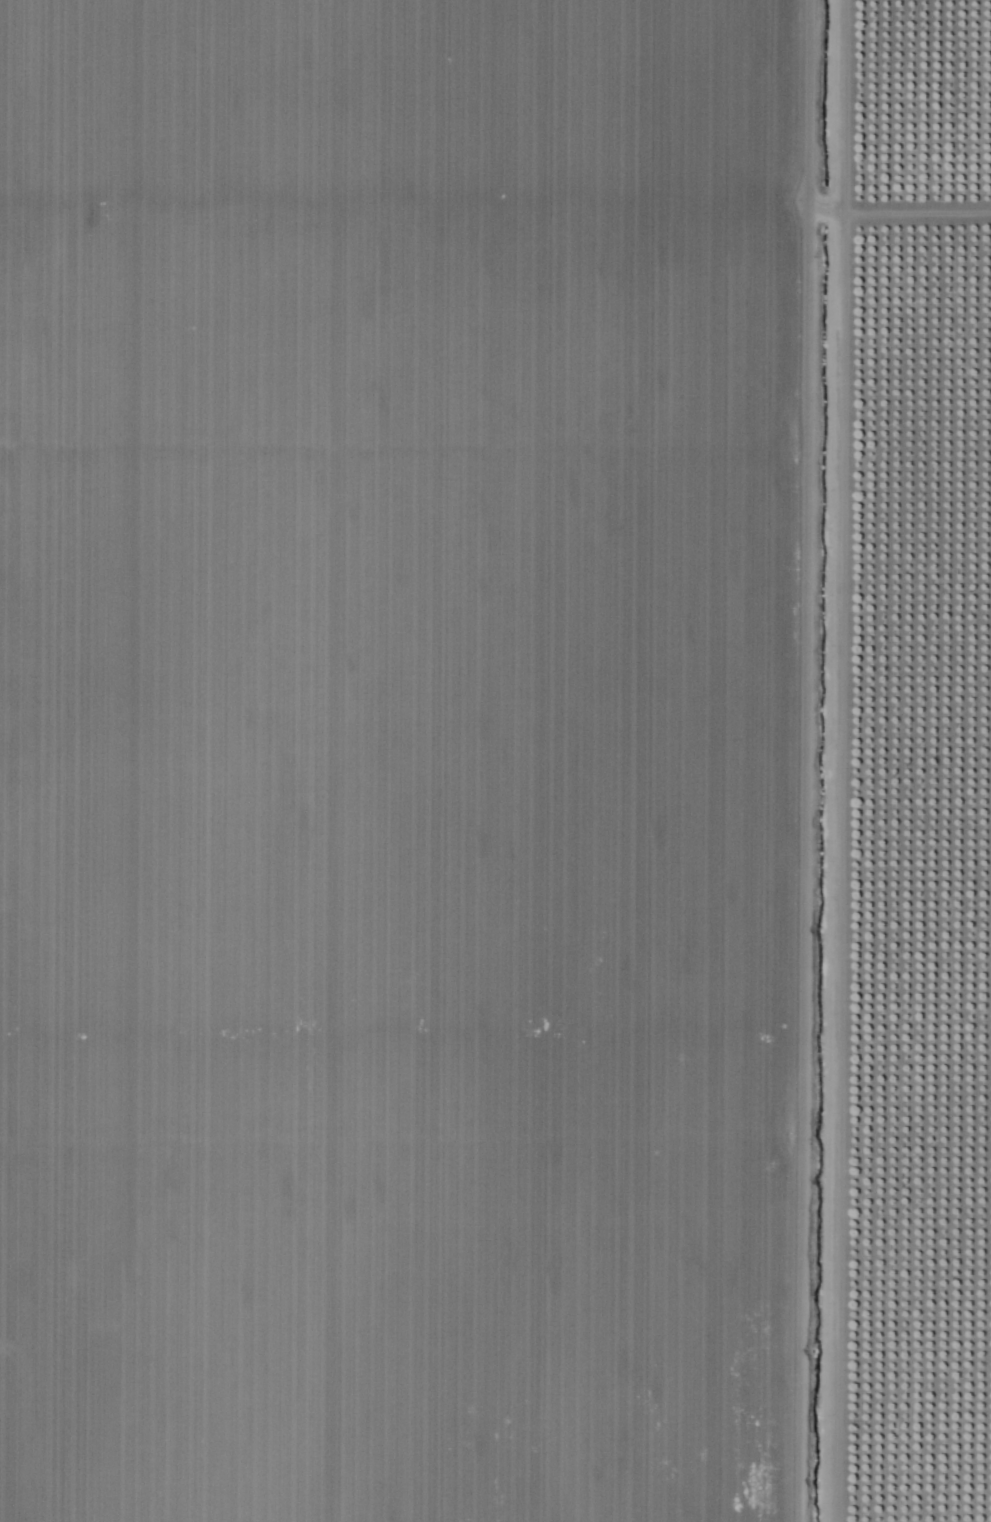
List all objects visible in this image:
crop: (423, 99)
road: (865, 761)
crop: (919, 761)
crop: (424, 860)

